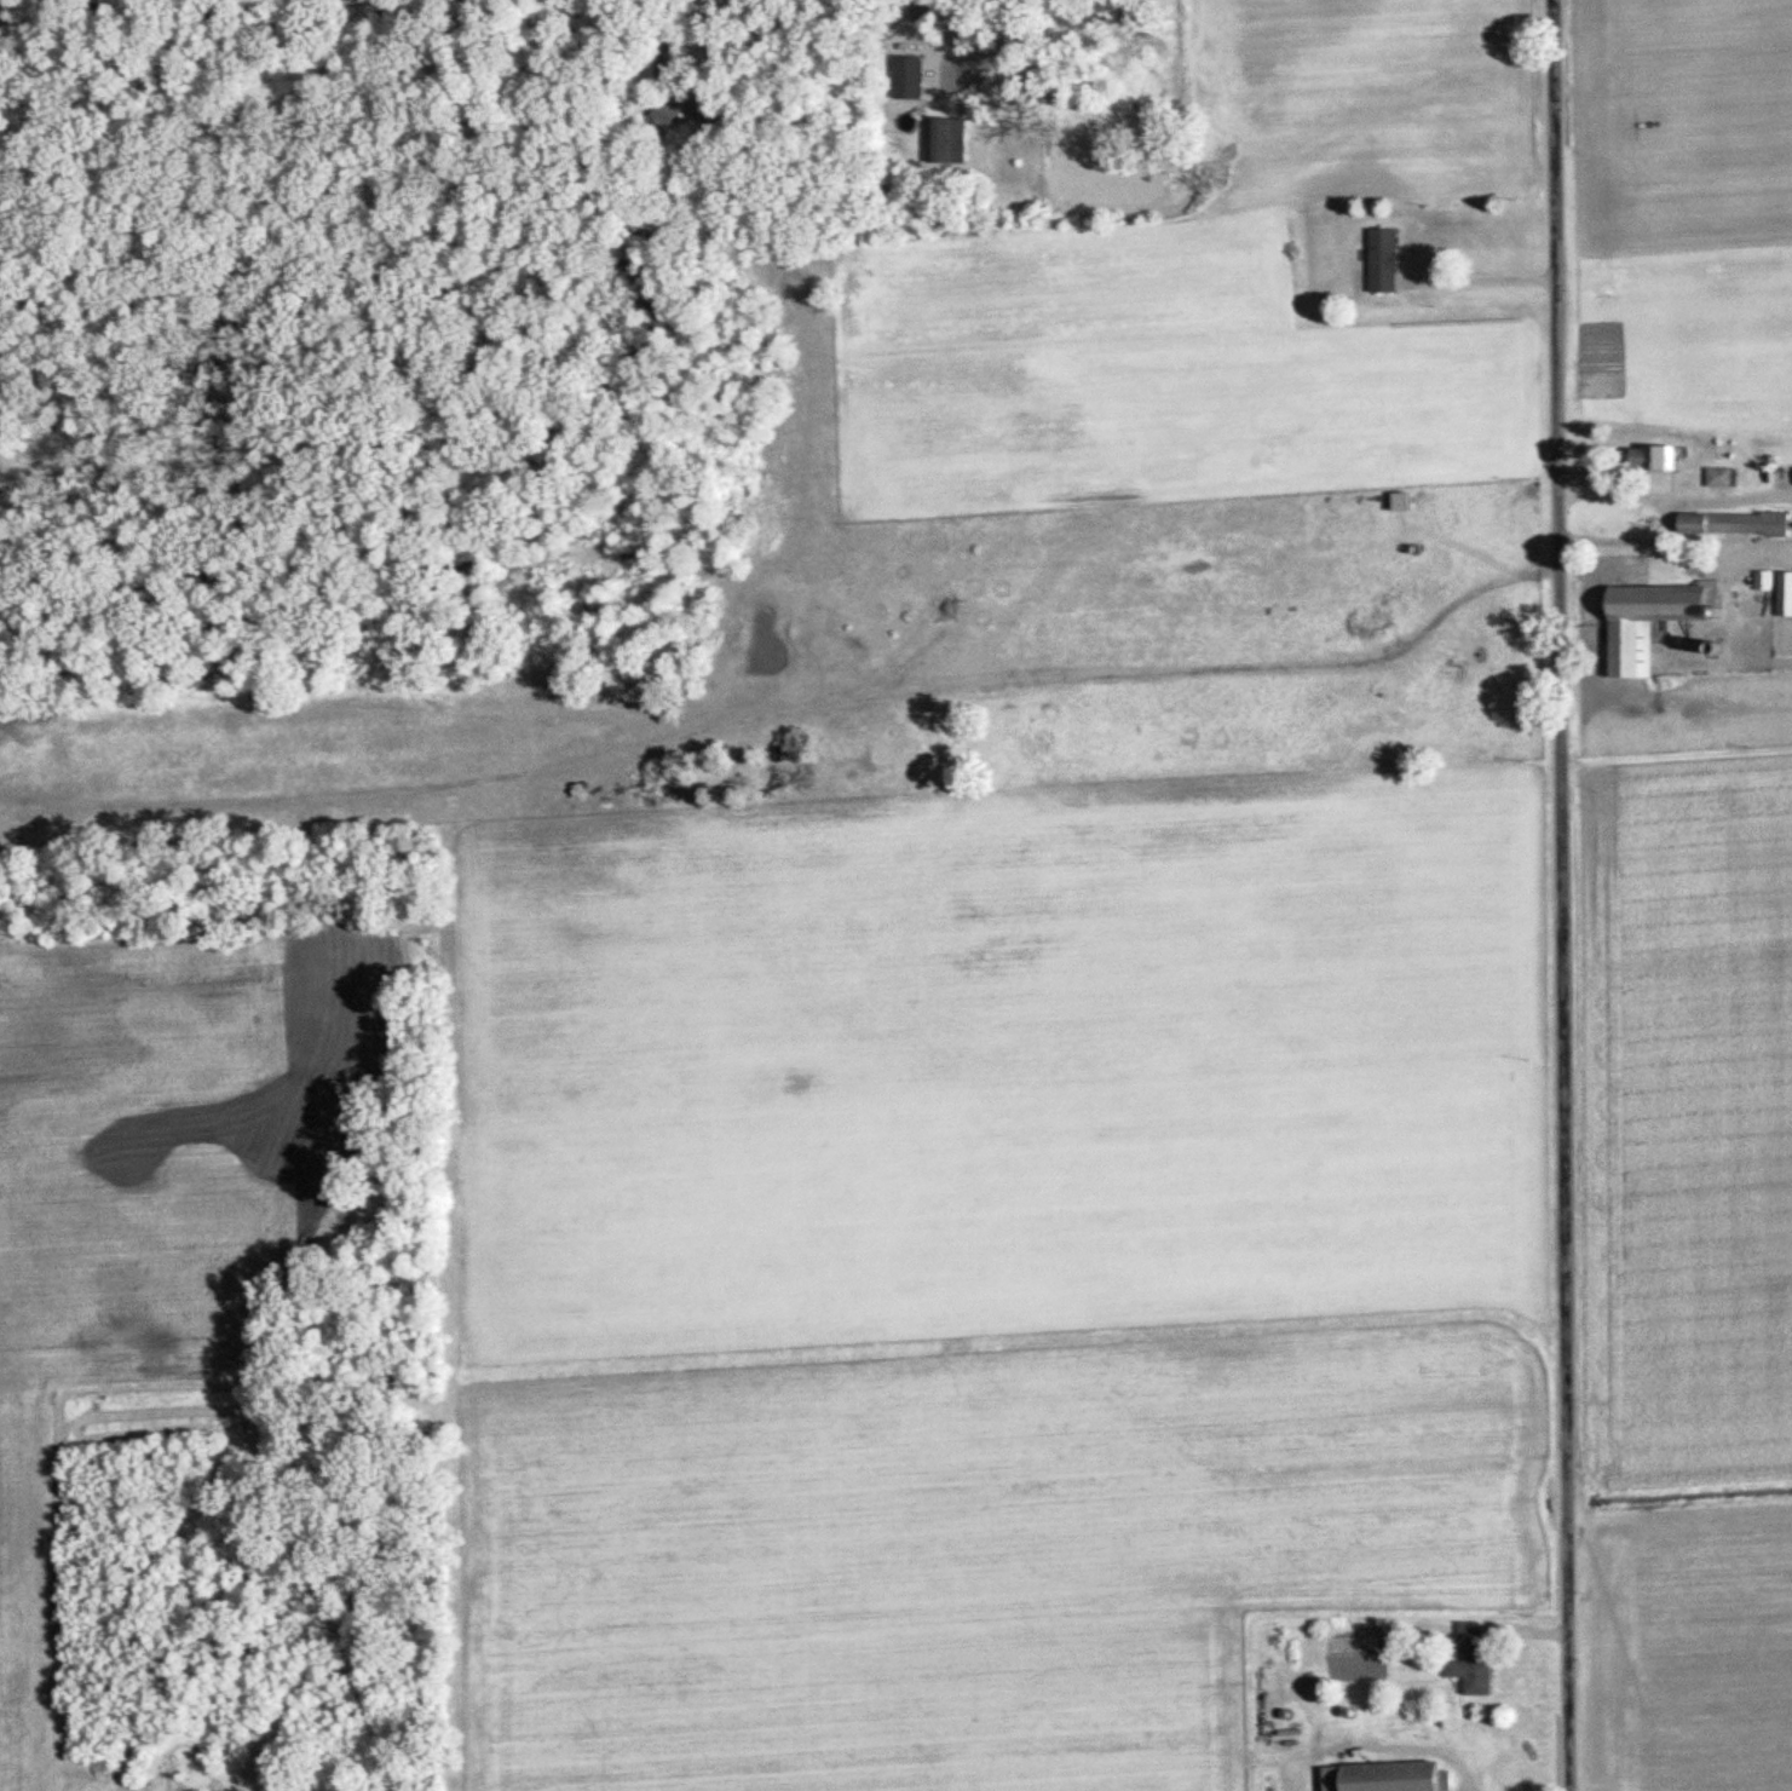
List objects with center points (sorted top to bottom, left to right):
road: (1001, 30)
road: (945, 70)
building: (911, 76)
road: (679, 82)
building: (953, 142)
building: (1388, 260)
building: (1676, 455)
building: (1785, 472)
building: (1723, 476)
building: (1408, 500)
building: (1739, 522)
building: (1779, 588)
building: (1658, 618)
road: (1561, 894)
building: (1476, 1660)
road: (1430, 1749)
building: (1393, 1776)

